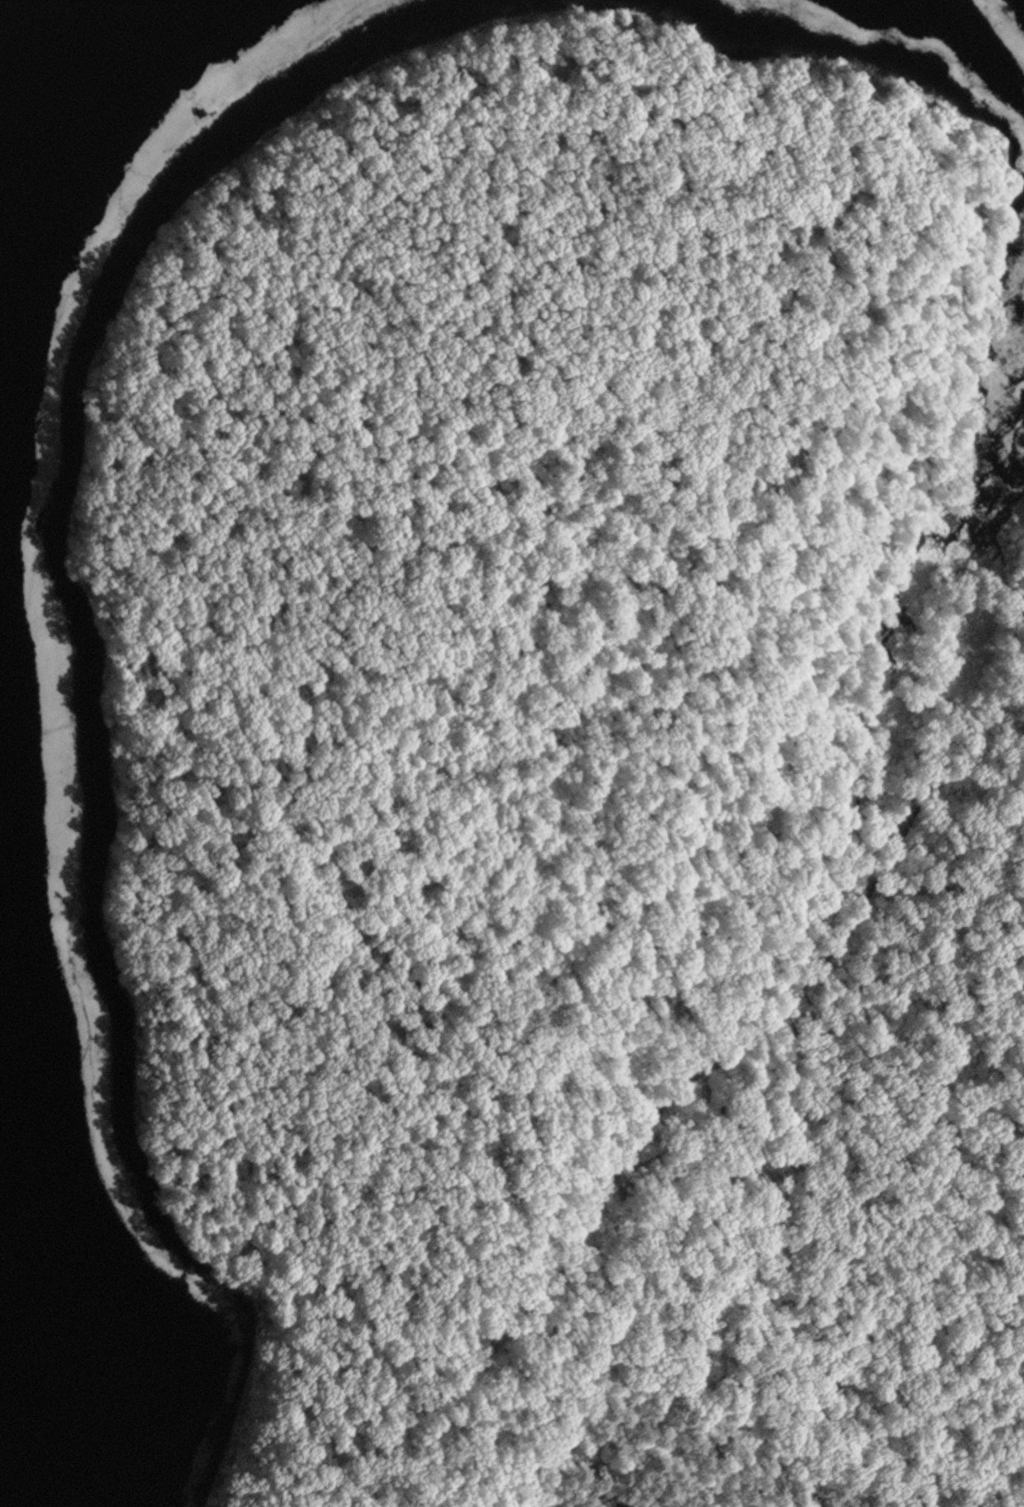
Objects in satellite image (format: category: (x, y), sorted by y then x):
road: (675, 1095)

